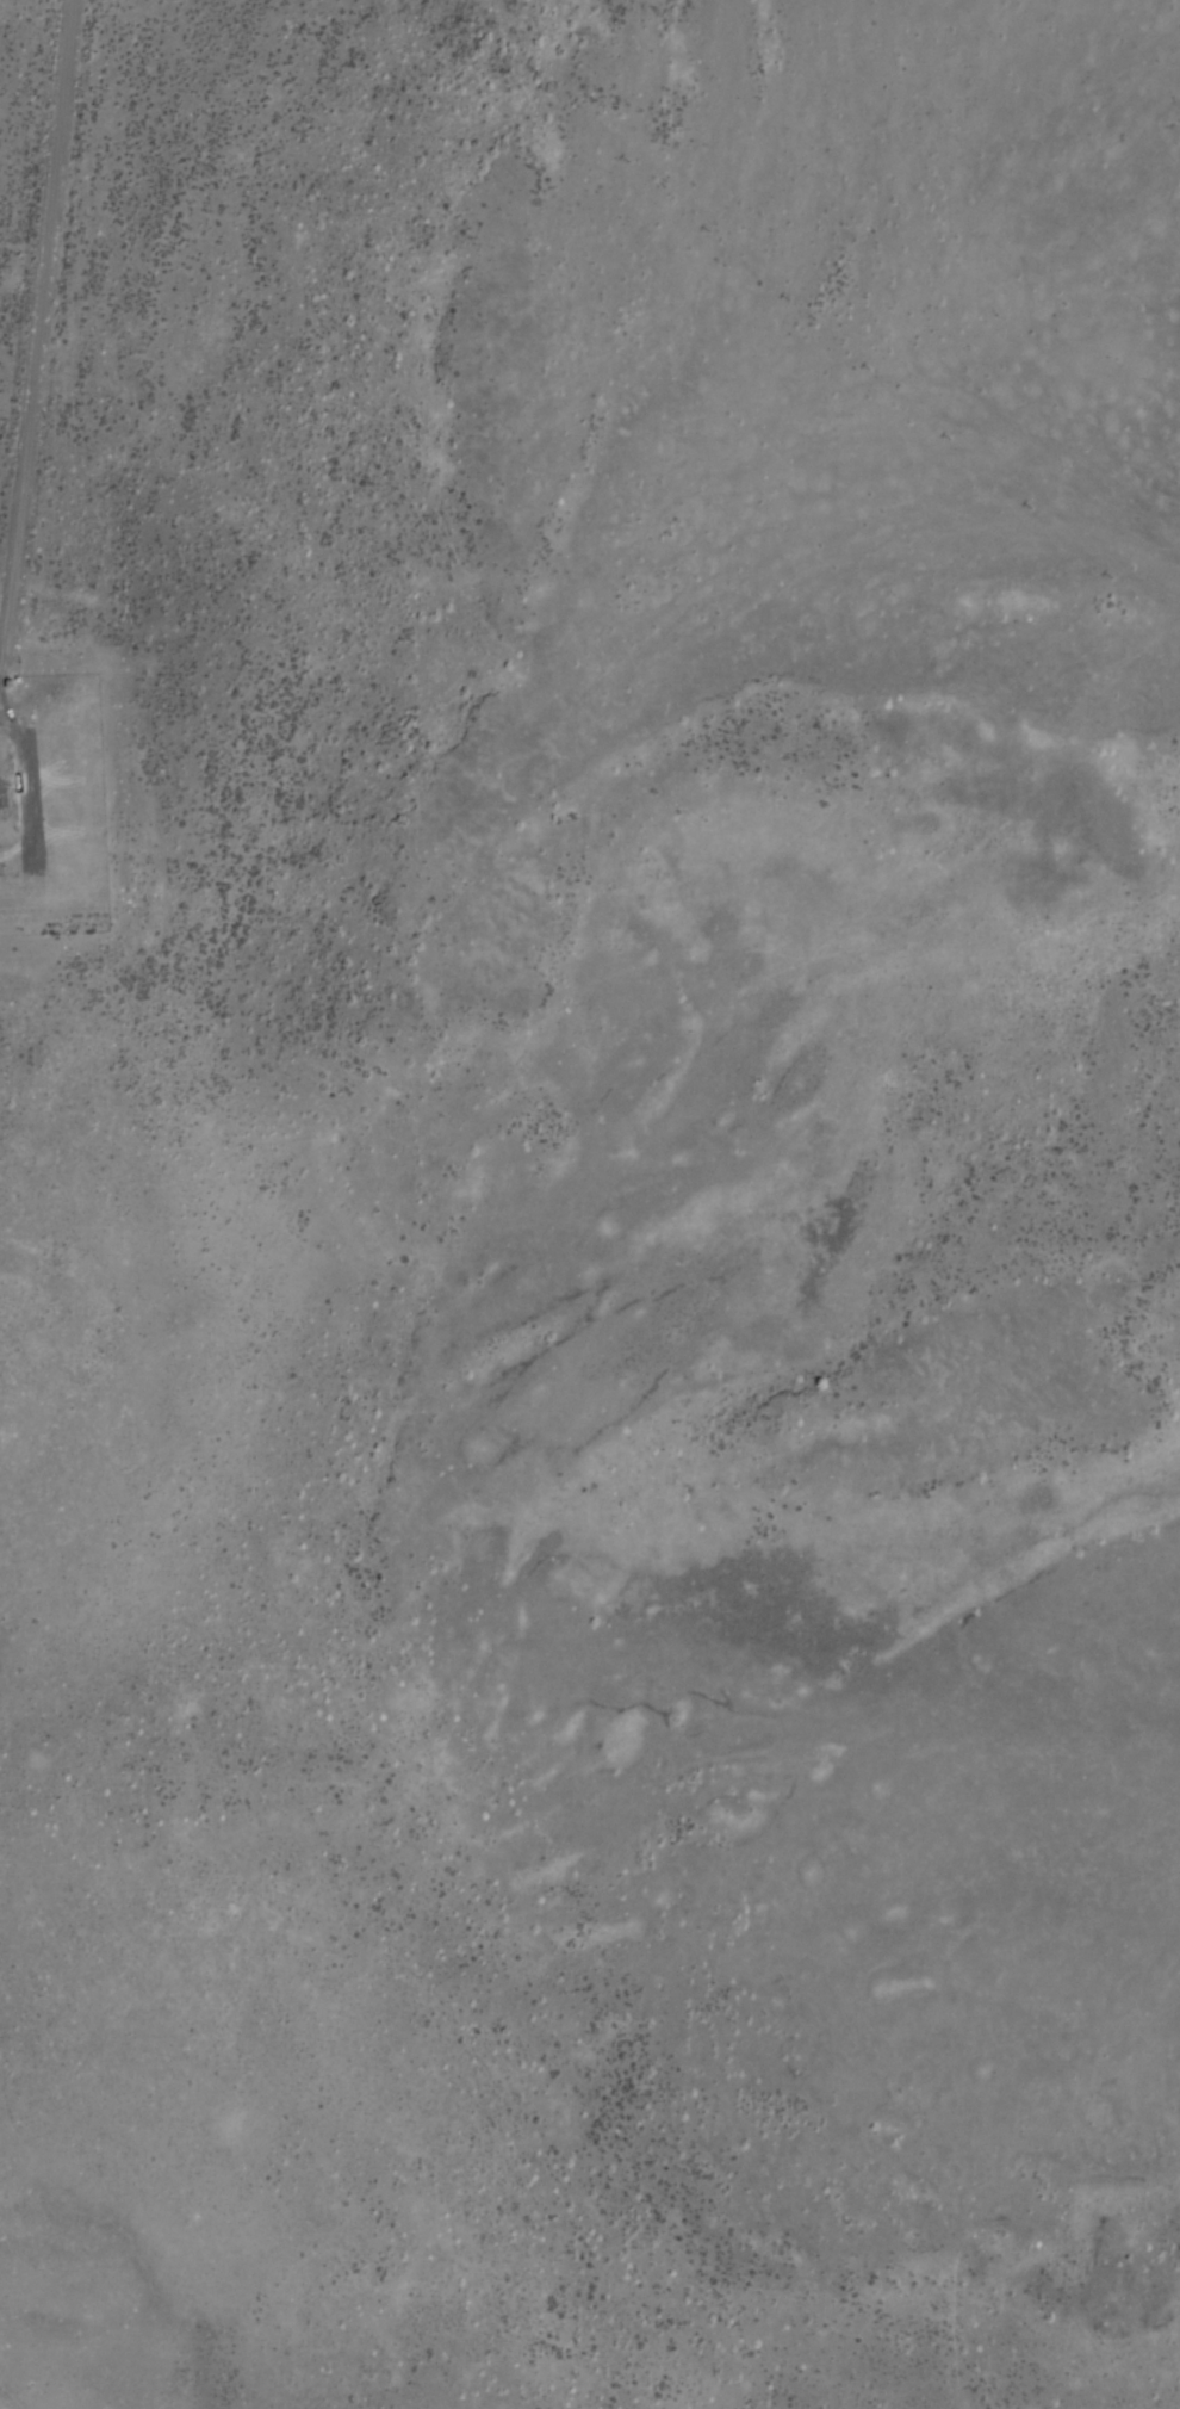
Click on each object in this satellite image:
road: (18, 570)
road: (7, 2399)

